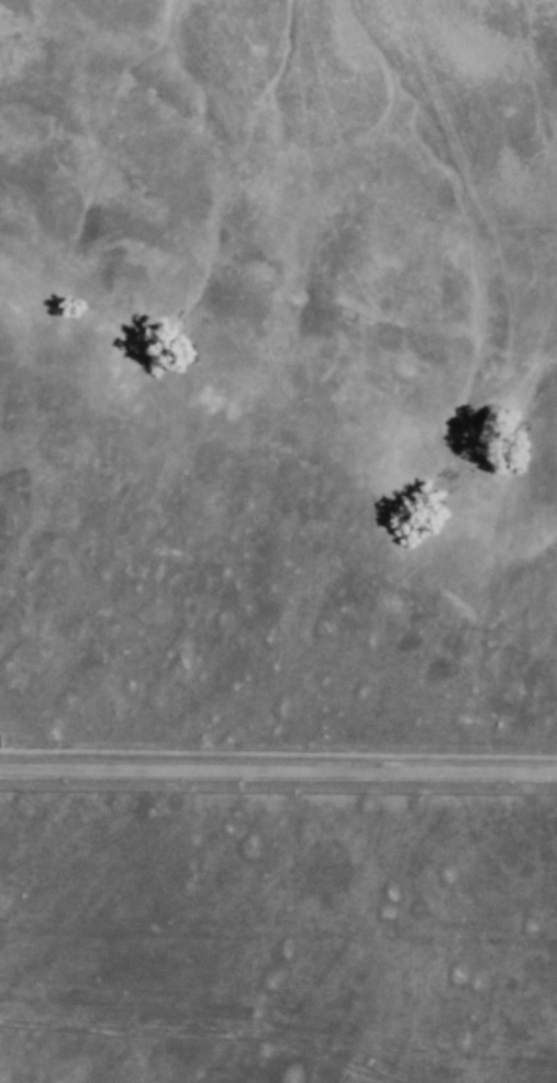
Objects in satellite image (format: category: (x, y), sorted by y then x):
road: (278, 767)

